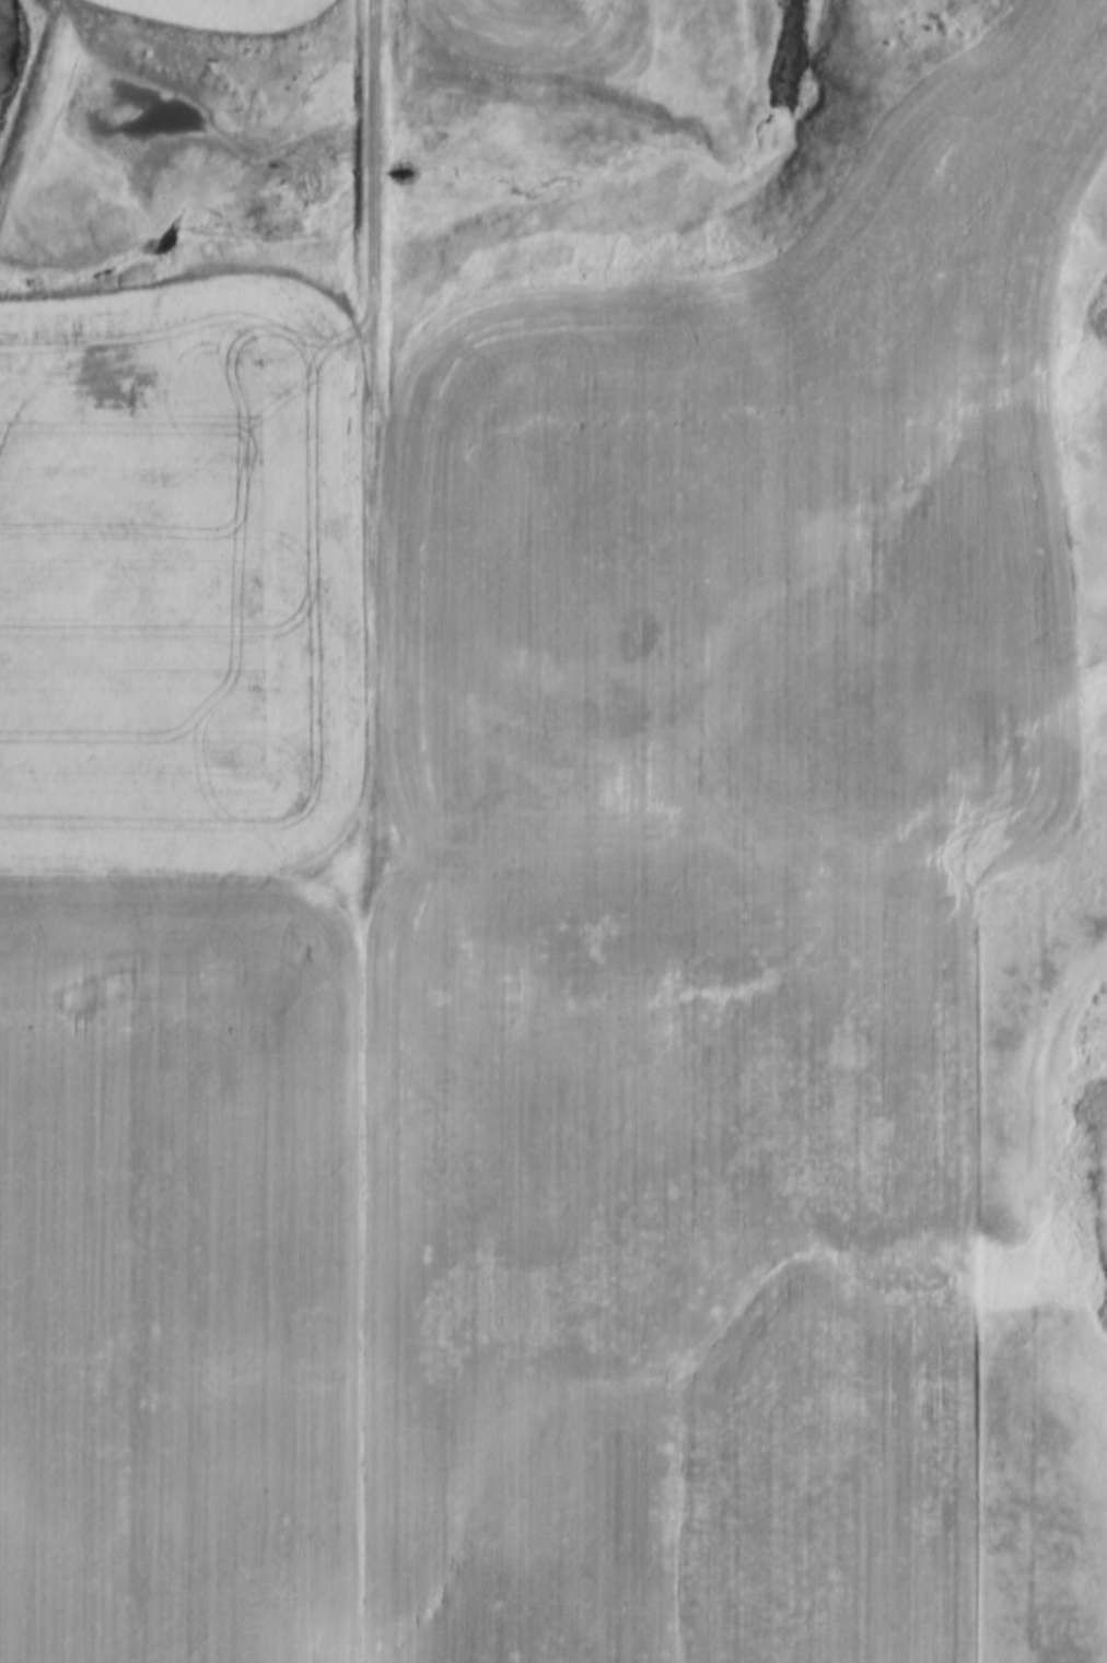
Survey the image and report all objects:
road: (371, 831)

